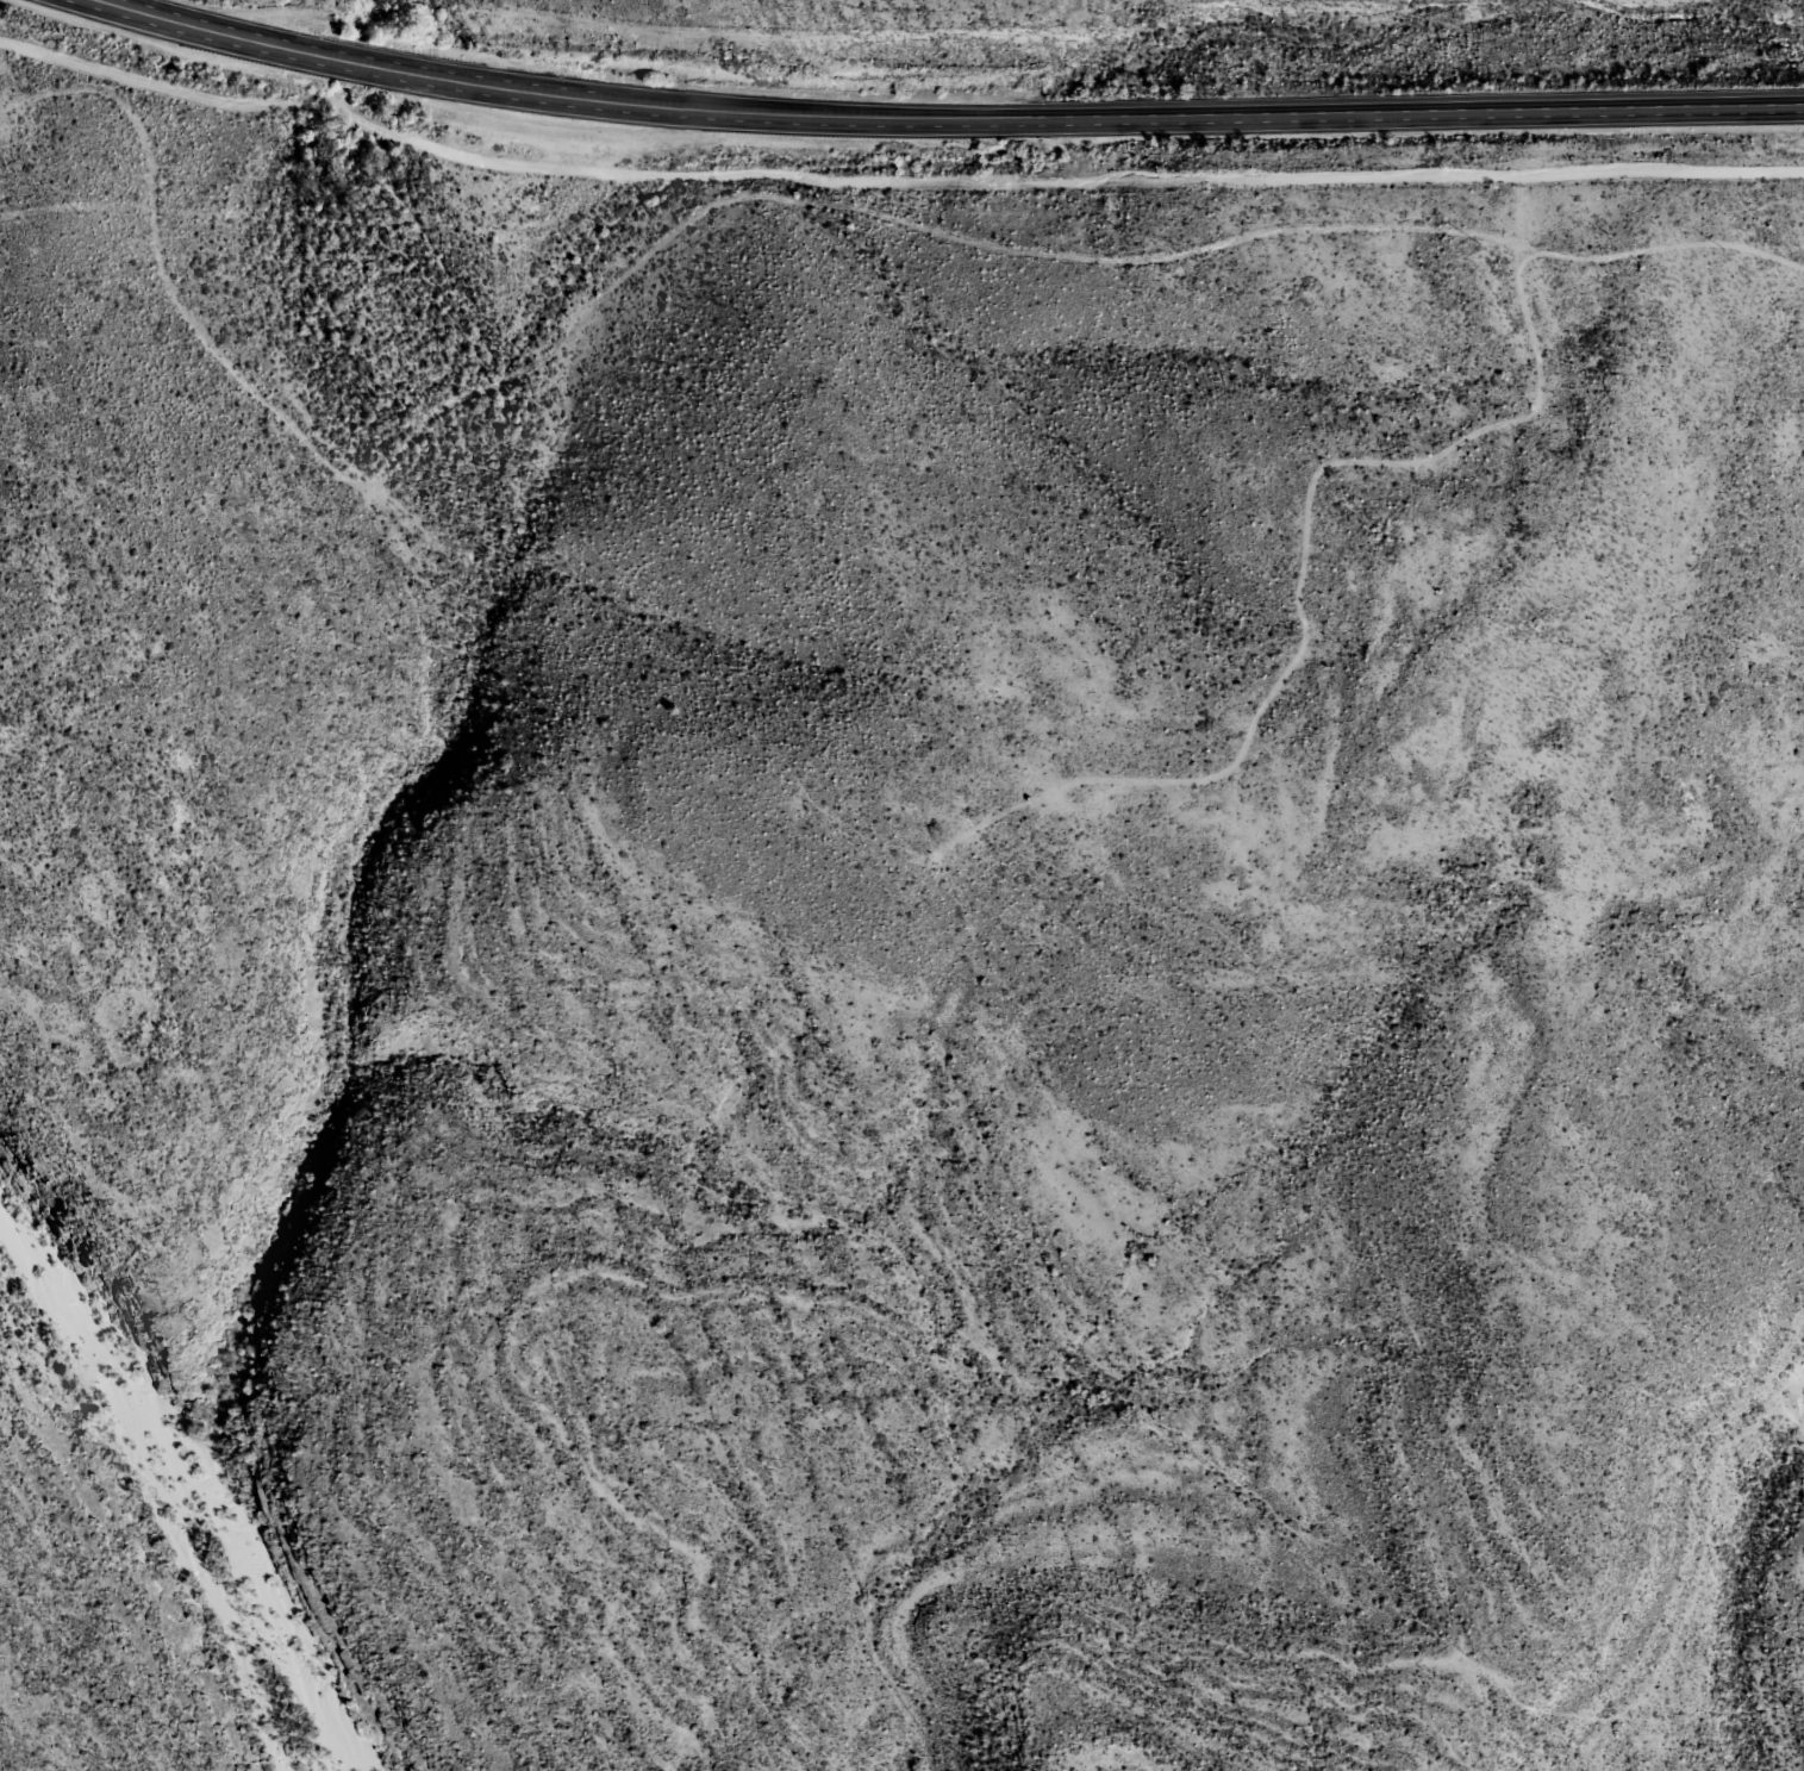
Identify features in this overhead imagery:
road: (951, 120)
road: (779, 226)

